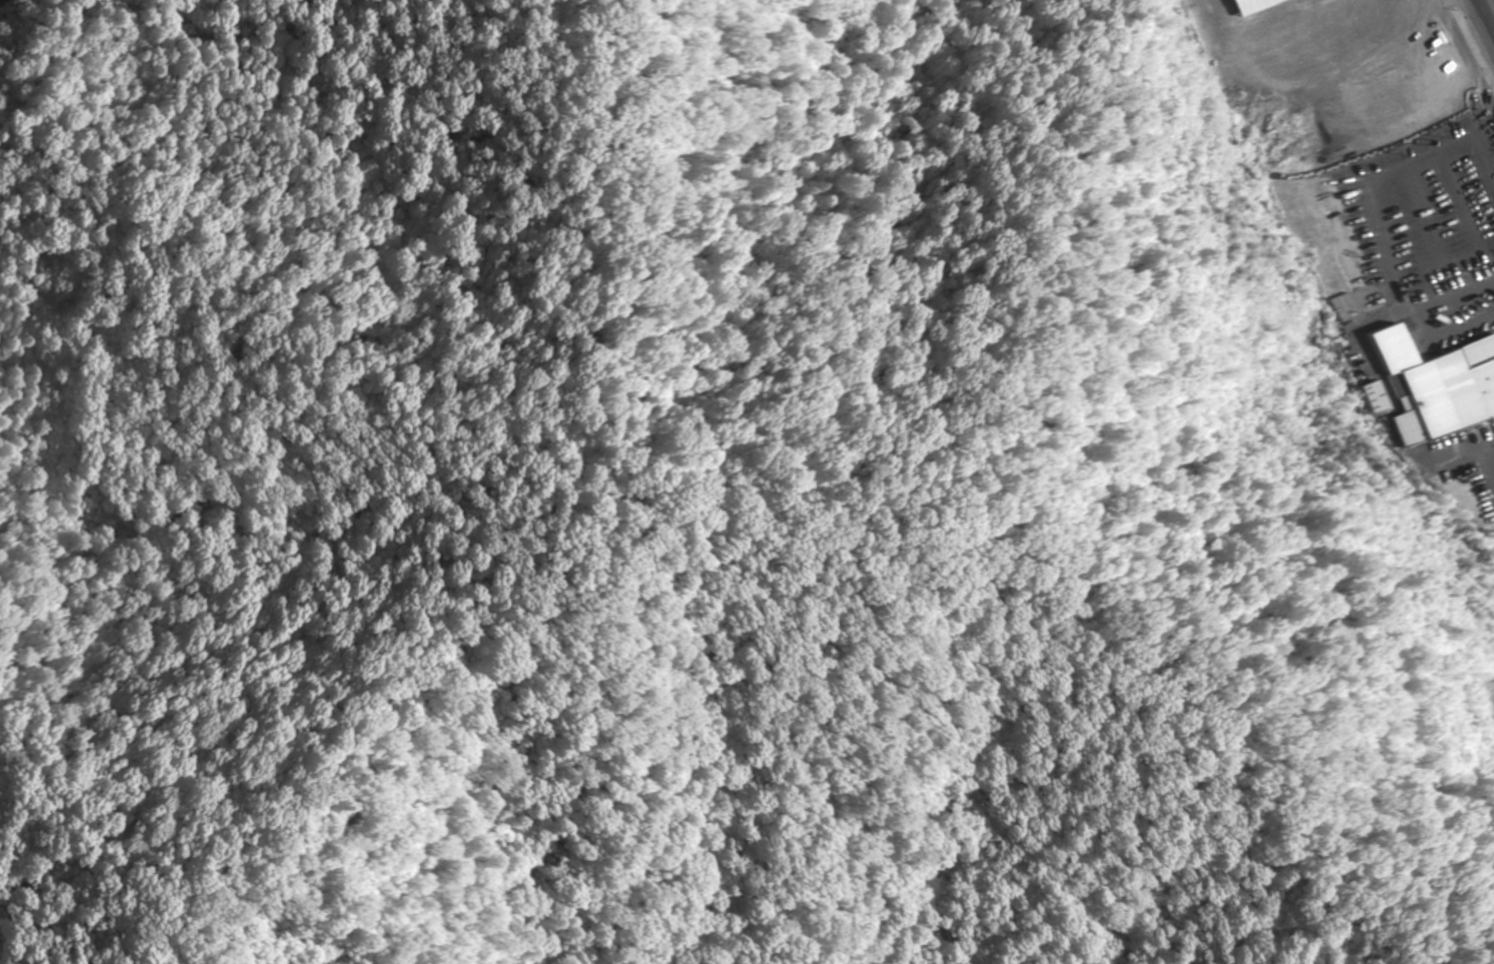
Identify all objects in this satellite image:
building: (1247, 4)
road: (1483, 21)

